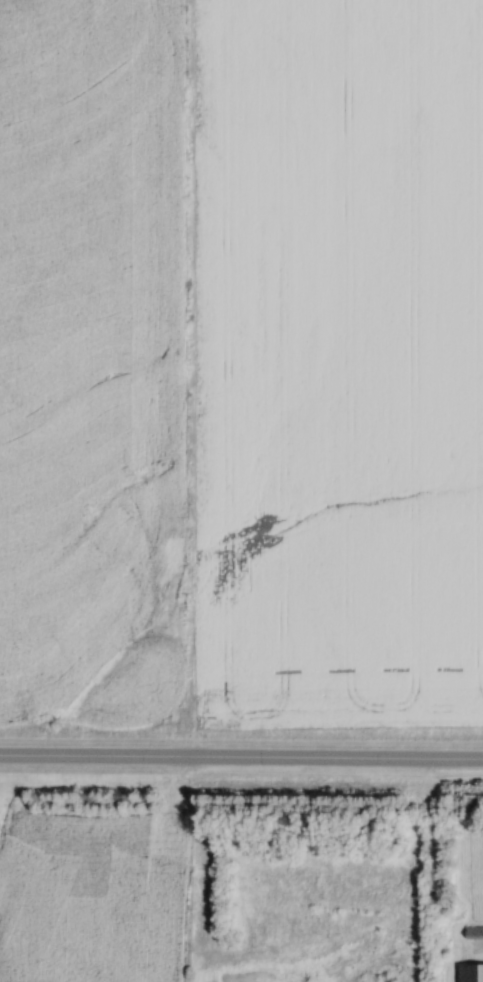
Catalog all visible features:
road: (241, 755)
building: (470, 972)

